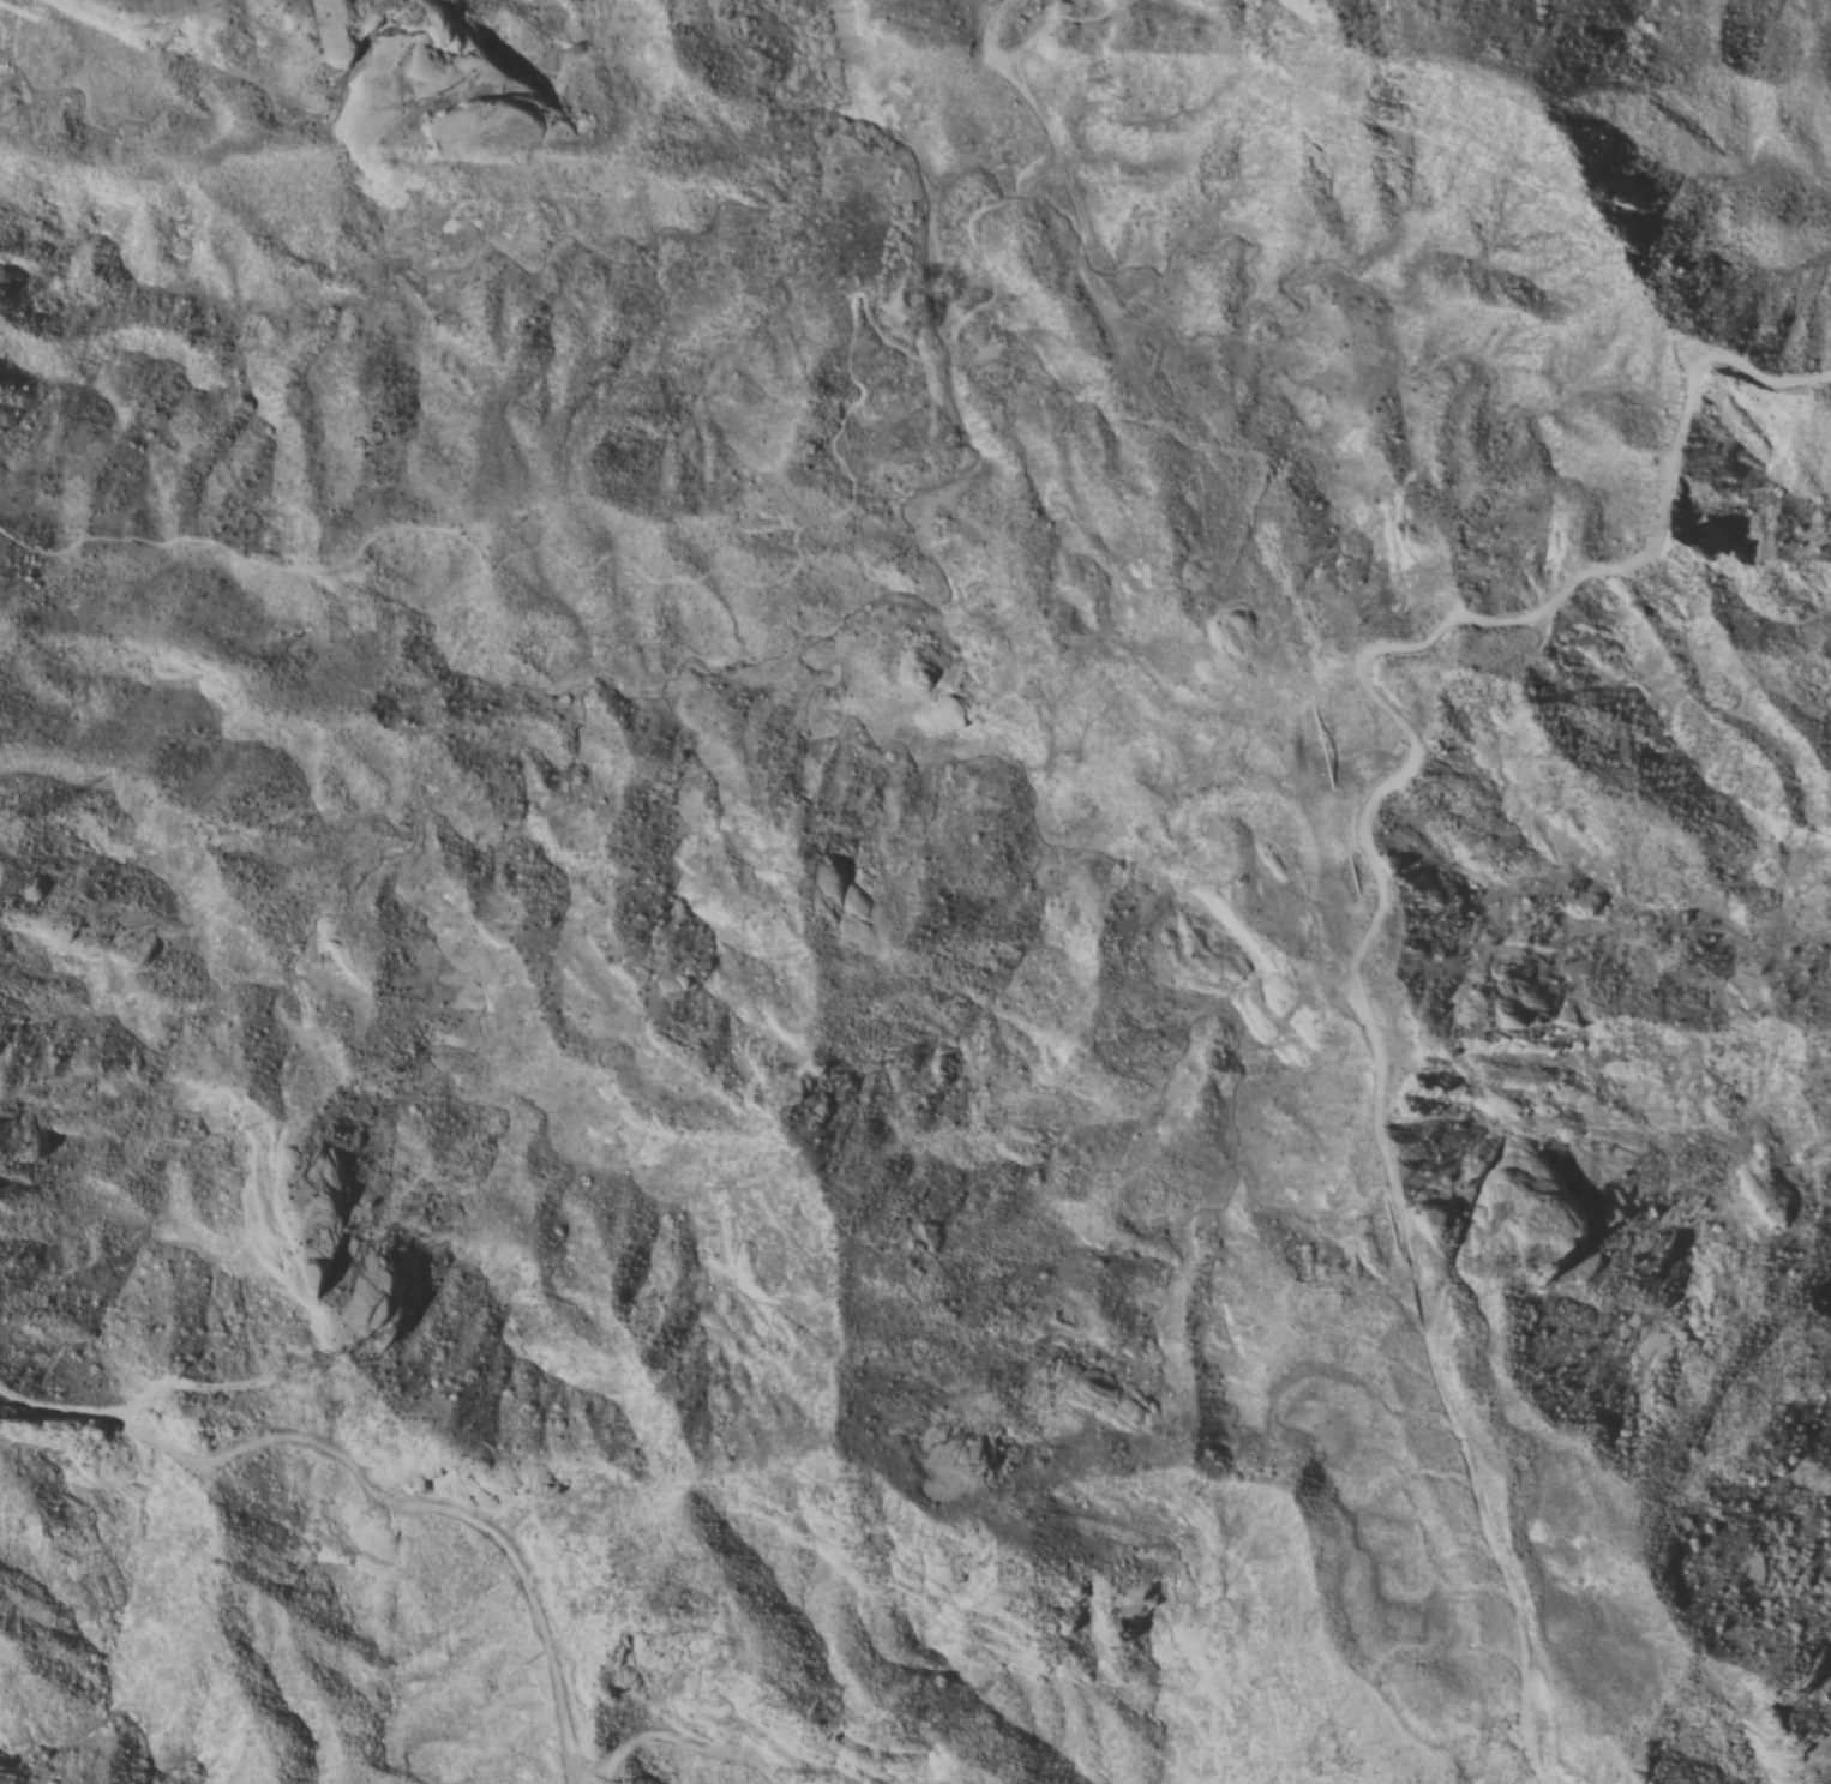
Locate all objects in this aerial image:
road: (1049, 23)
road: (983, 47)
road: (1035, 109)
road: (1076, 216)
road: (724, 570)
power tower: (12, 817)
road: (1367, 841)
road: (196, 1381)
power tower: (320, 1384)
road: (478, 1518)
road: (1526, 1746)

